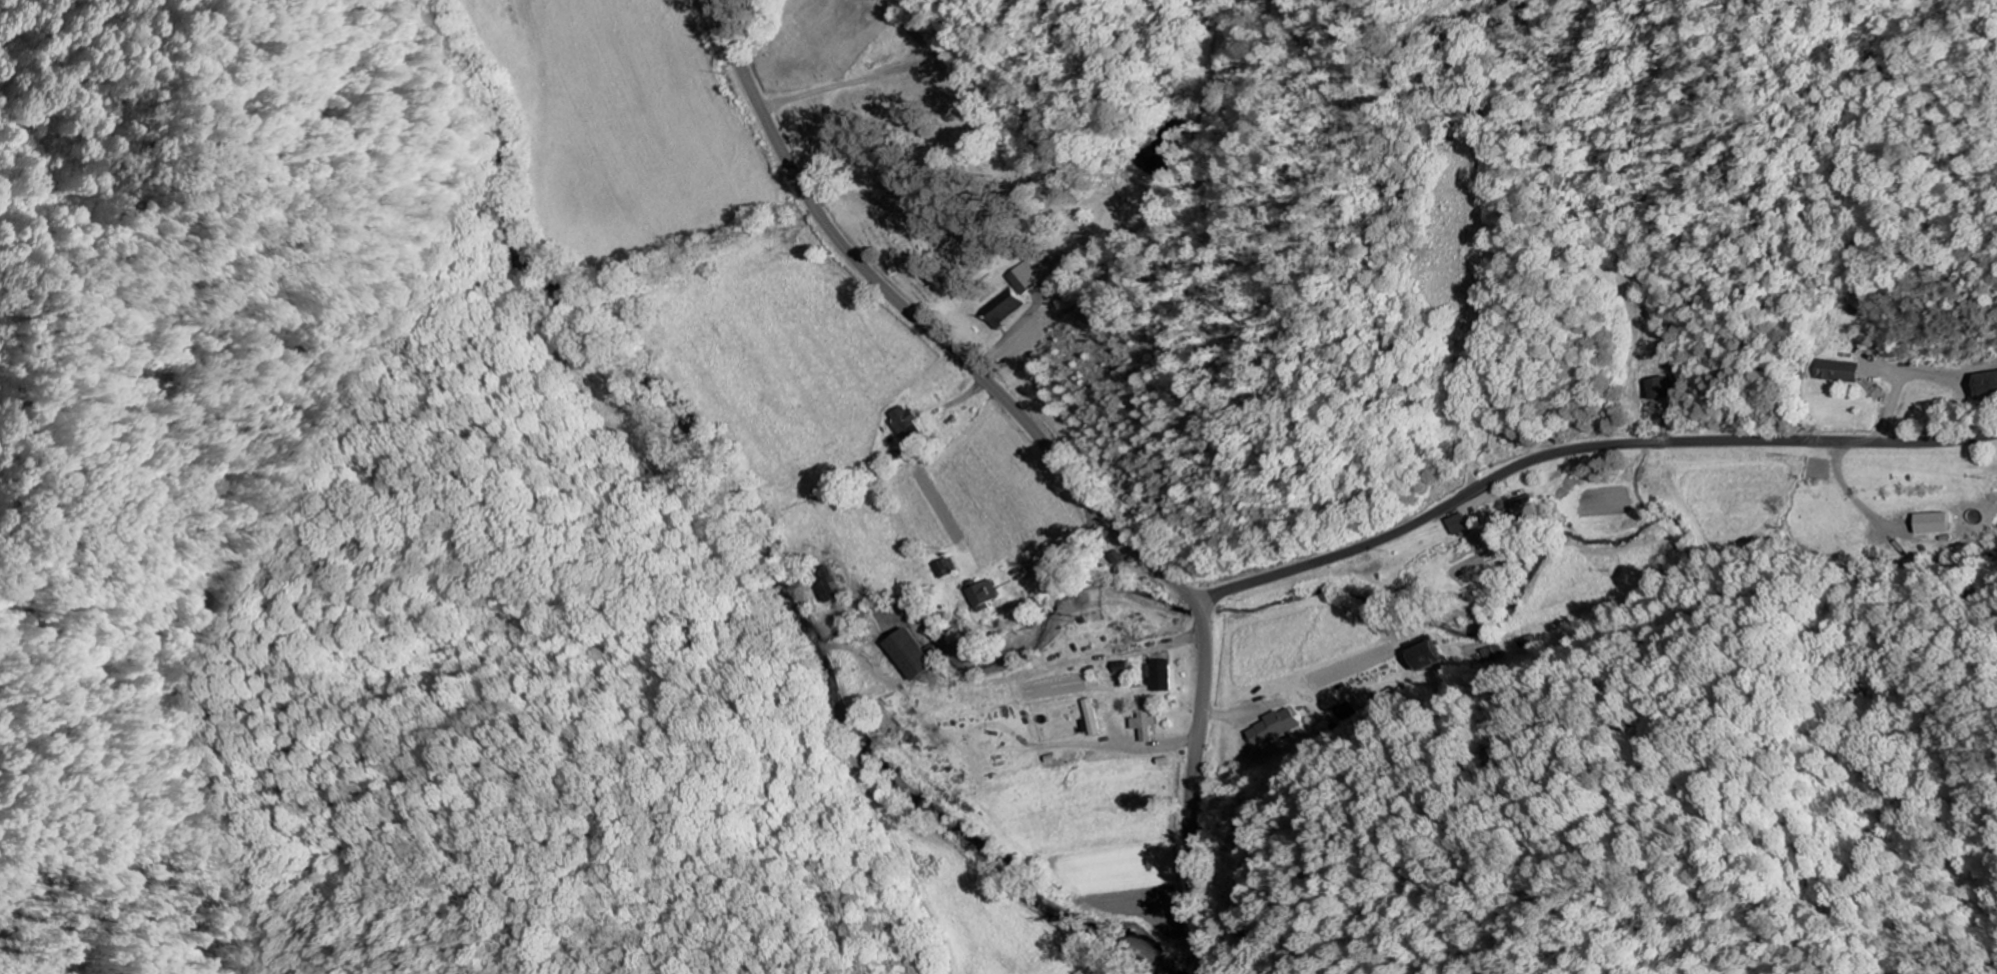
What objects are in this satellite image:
building: (1029, 278)
building: (1008, 309)
building: (1845, 371)
building: (1992, 383)
building: (1664, 388)
building: (910, 426)
road: (1581, 449)
road: (1060, 457)
building: (1937, 523)
building: (1467, 525)
building: (947, 569)
building: (831, 586)
building: (990, 596)
building: (916, 655)
building: (1424, 656)
building: (1125, 667)
building: (1161, 676)
building: (1095, 719)
building: (1142, 723)
road: (1207, 944)

